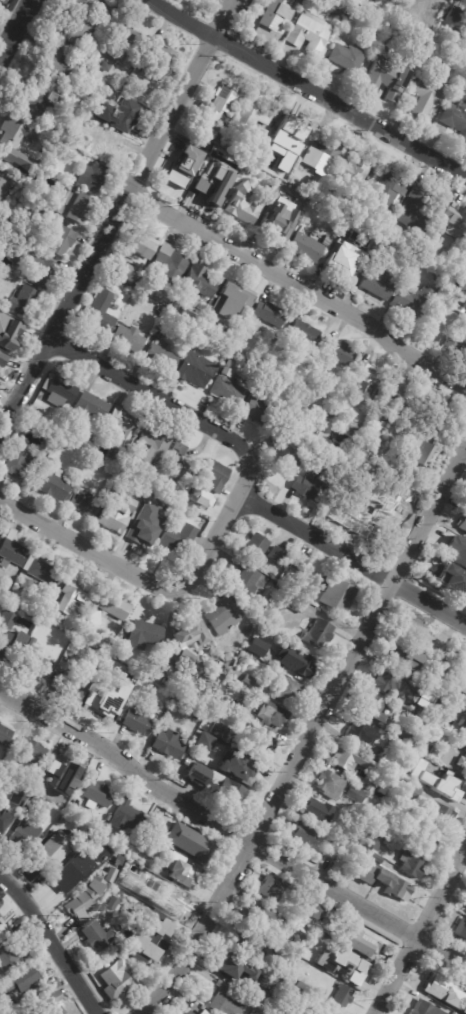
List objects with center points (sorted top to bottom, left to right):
building: (362, 2)
building: (425, 5)
building: (96, 6)
building: (275, 13)
building: (458, 18)
road: (16, 29)
building: (77, 29)
building: (310, 33)
building: (121, 43)
building: (423, 45)
building: (348, 58)
building: (154, 62)
building: (53, 67)
building: (105, 67)
building: (388, 81)
building: (129, 82)
road: (312, 86)
building: (427, 96)
building: (221, 101)
building: (35, 105)
building: (254, 112)
building: (125, 115)
building: (454, 120)
building: (206, 130)
building: (287, 131)
building: (14, 140)
building: (107, 146)
building: (322, 153)
building: (248, 170)
building: (355, 174)
building: (191, 175)
building: (92, 178)
building: (6, 185)
building: (214, 187)
building: (331, 190)
building: (388, 190)
building: (32, 196)
building: (243, 205)
building: (72, 206)
building: (415, 210)
road: (115, 213)
building: (451, 221)
building: (272, 229)
building: (59, 240)
building: (327, 241)
building: (140, 246)
building: (306, 248)
building: (445, 260)
building: (405, 261)
building: (169, 264)
building: (340, 265)
building: (36, 268)
building: (123, 274)
building: (376, 282)
building: (198, 283)
building: (107, 284)
road: (298, 284)
building: (464, 292)
building: (236, 295)
building: (161, 300)
building: (22, 302)
building: (412, 302)
building: (115, 307)
building: (99, 312)
building: (188, 314)
building: (270, 314)
building: (210, 320)
building: (10, 334)
building: (201, 334)
building: (302, 335)
building: (274, 338)
building: (128, 339)
building: (456, 348)
building: (162, 352)
building: (233, 352)
building: (340, 353)
building: (2, 360)
building: (316, 362)
building: (195, 370)
building: (369, 383)
building: (227, 387)
building: (397, 390)
building: (59, 392)
road: (167, 403)
building: (89, 407)
building: (442, 407)
building: (395, 408)
building: (261, 413)
building: (121, 426)
building: (49, 428)
building: (354, 428)
building: (90, 433)
building: (60, 446)
building: (380, 446)
building: (150, 449)
building: (178, 449)
building: (285, 450)
building: (419, 454)
building: (116, 457)
building: (22, 464)
building: (127, 465)
building: (176, 470)
building: (214, 476)
building: (53, 485)
building: (309, 491)
building: (200, 498)
building: (84, 504)
building: (364, 514)
building: (115, 515)
building: (464, 523)
building: (0, 533)
building: (141, 535)
building: (177, 540)
building: (255, 547)
building: (457, 550)
building: (12, 553)
building: (277, 555)
road: (353, 559)
building: (299, 563)
building: (42, 571)
road: (137, 576)
building: (452, 578)
building: (246, 583)
building: (26, 584)
building: (1, 590)
building: (336, 592)
building: (74, 593)
building: (297, 604)
building: (114, 605)
building: (33, 607)
building: (268, 608)
building: (39, 611)
building: (47, 615)
building: (223, 615)
building: (95, 617)
building: (7, 619)
building: (415, 629)
building: (146, 631)
building: (318, 633)
building: (189, 640)
building: (32, 642)
building: (12, 645)
building: (106, 646)
building: (258, 647)
building: (122, 649)
building: (441, 651)
building: (405, 655)
building: (228, 657)
building: (94, 658)
building: (296, 660)
building: (465, 663)
building: (40, 666)
building: (167, 681)
building: (426, 681)
building: (251, 682)
building: (386, 682)
building: (461, 682)
building: (70, 684)
building: (289, 690)
building: (249, 694)
building: (178, 700)
building: (217, 700)
building: (104, 701)
building: (376, 707)
building: (239, 708)
building: (197, 714)
building: (272, 714)
building: (138, 720)
building: (220, 730)
building: (361, 732)
building: (5, 735)
road: (307, 735)
building: (408, 735)
building: (465, 738)
building: (205, 741)
building: (262, 742)
building: (168, 744)
building: (465, 749)
building: (30, 752)
building: (436, 752)
building: (387, 757)
building: (351, 759)
building: (462, 762)
building: (239, 767)
building: (62, 769)
building: (411, 772)
building: (421, 778)
building: (453, 783)
building: (227, 784)
building: (368, 784)
building: (331, 785)
building: (411, 791)
building: (98, 794)
building: (66, 799)
building: (356, 802)
building: (34, 803)
building: (10, 807)
building: (69, 809)
building: (317, 811)
building: (440, 815)
building: (126, 817)
building: (108, 818)
building: (400, 818)
building: (103, 827)
road: (231, 833)
building: (303, 834)
building: (23, 835)
building: (77, 840)
building: (374, 841)
building: (426, 844)
building: (152, 845)
building: (195, 845)
building: (354, 845)
building: (333, 848)
building: (126, 851)
building: (52, 854)
building: (389, 856)
building: (376, 857)
building: (411, 864)
building: (80, 868)
building: (146, 874)
building: (183, 875)
building: (385, 883)
building: (272, 888)
building: (88, 896)
building: (173, 901)
building: (112, 903)
building: (313, 911)
building: (259, 917)
building: (324, 925)
building: (461, 929)
road: (421, 931)
building: (3, 932)
building: (96, 936)
building: (146, 936)
building: (295, 943)
building: (245, 944)
road: (49, 945)
building: (362, 950)
building: (313, 954)
building: (10, 956)
building: (342, 963)
building: (231, 966)
building: (116, 977)
building: (20, 986)
building: (439, 987)
building: (262, 996)
building: (343, 996)
building: (294, 997)
building: (360, 998)
building: (226, 1001)
building: (47, 1004)
building: (425, 1008)
building: (24, 1009)
building: (464, 1009)
building: (257, 1010)
building: (189, 1012)
building: (200, 1013)
building: (316, 1013)
building: (455, 1013)

